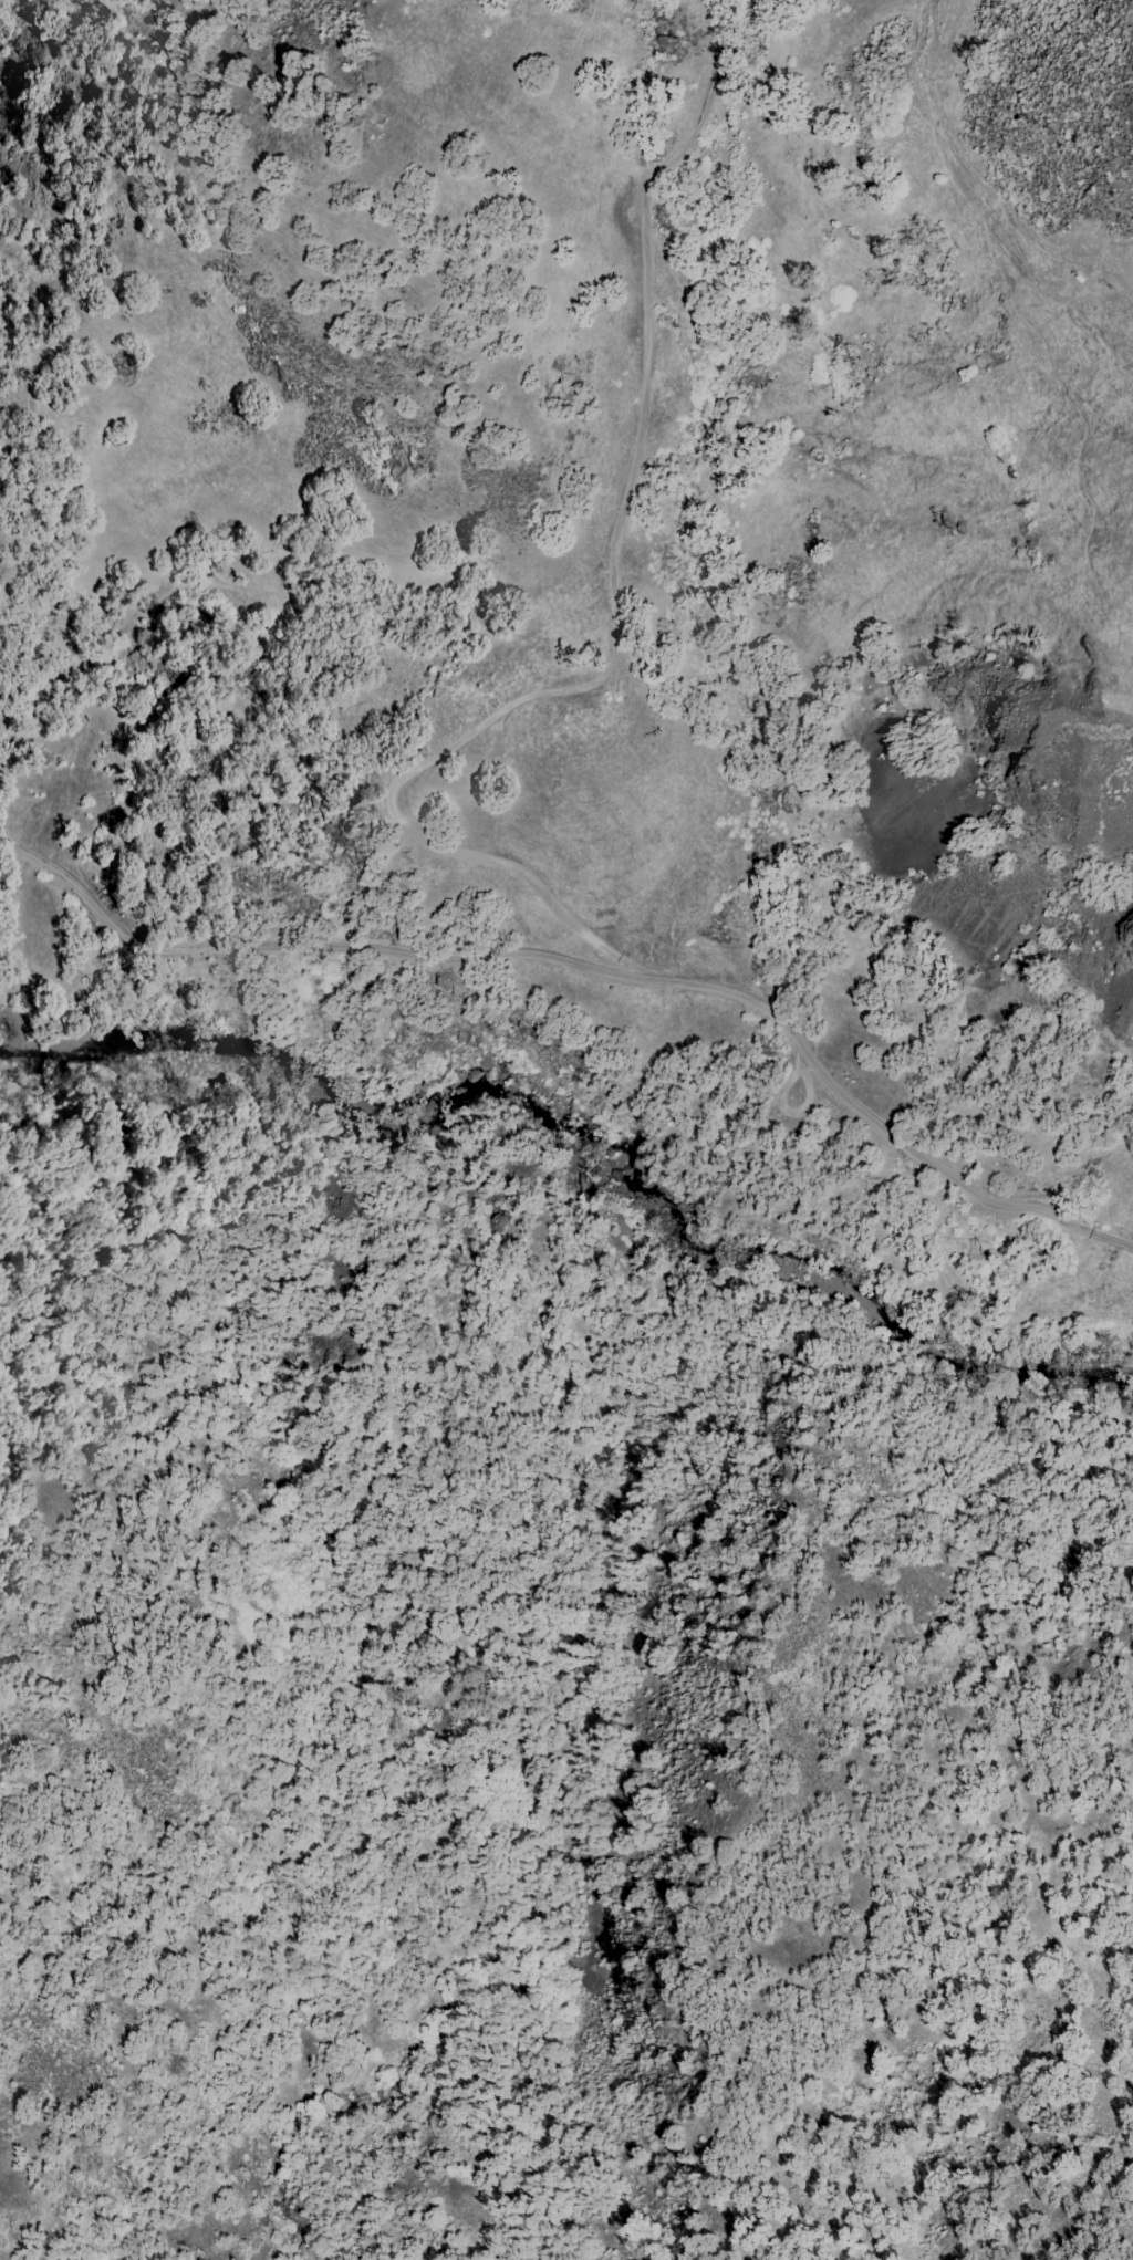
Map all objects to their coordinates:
road: (616, 615)
road: (570, 965)
river: (581, 1167)
road: (1111, 1243)

